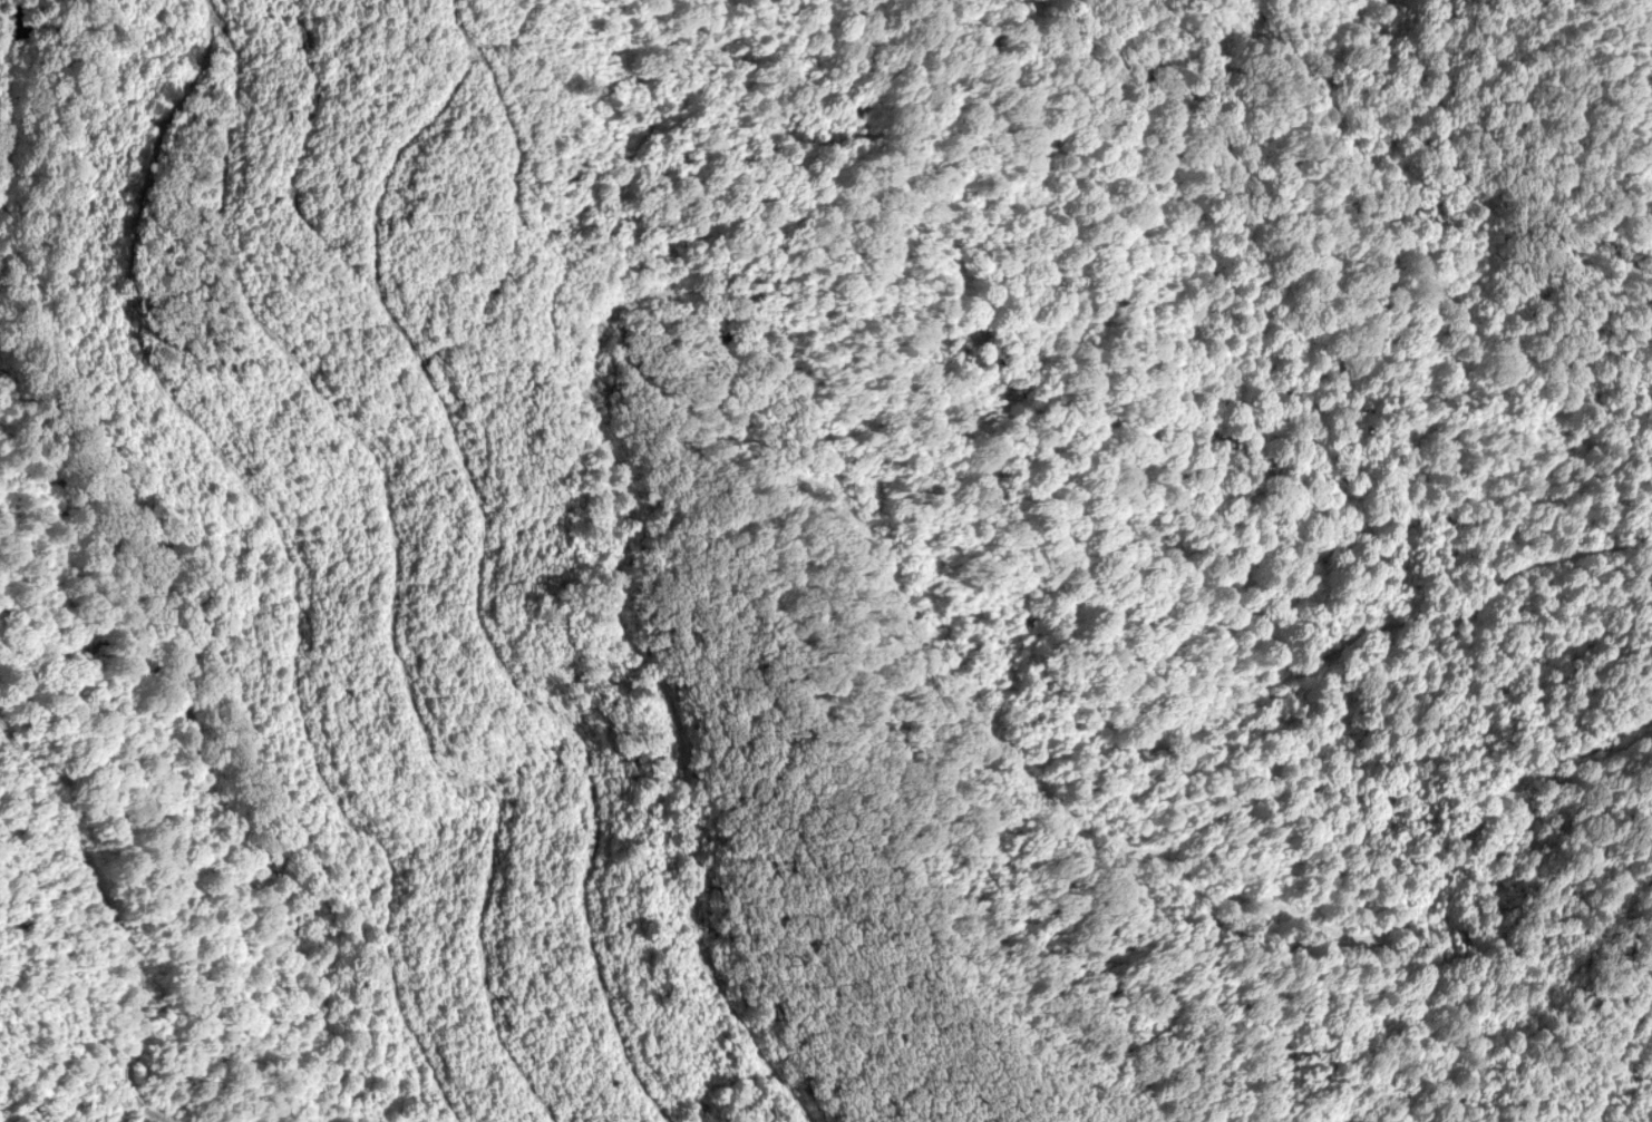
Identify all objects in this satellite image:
road: (123, 913)

